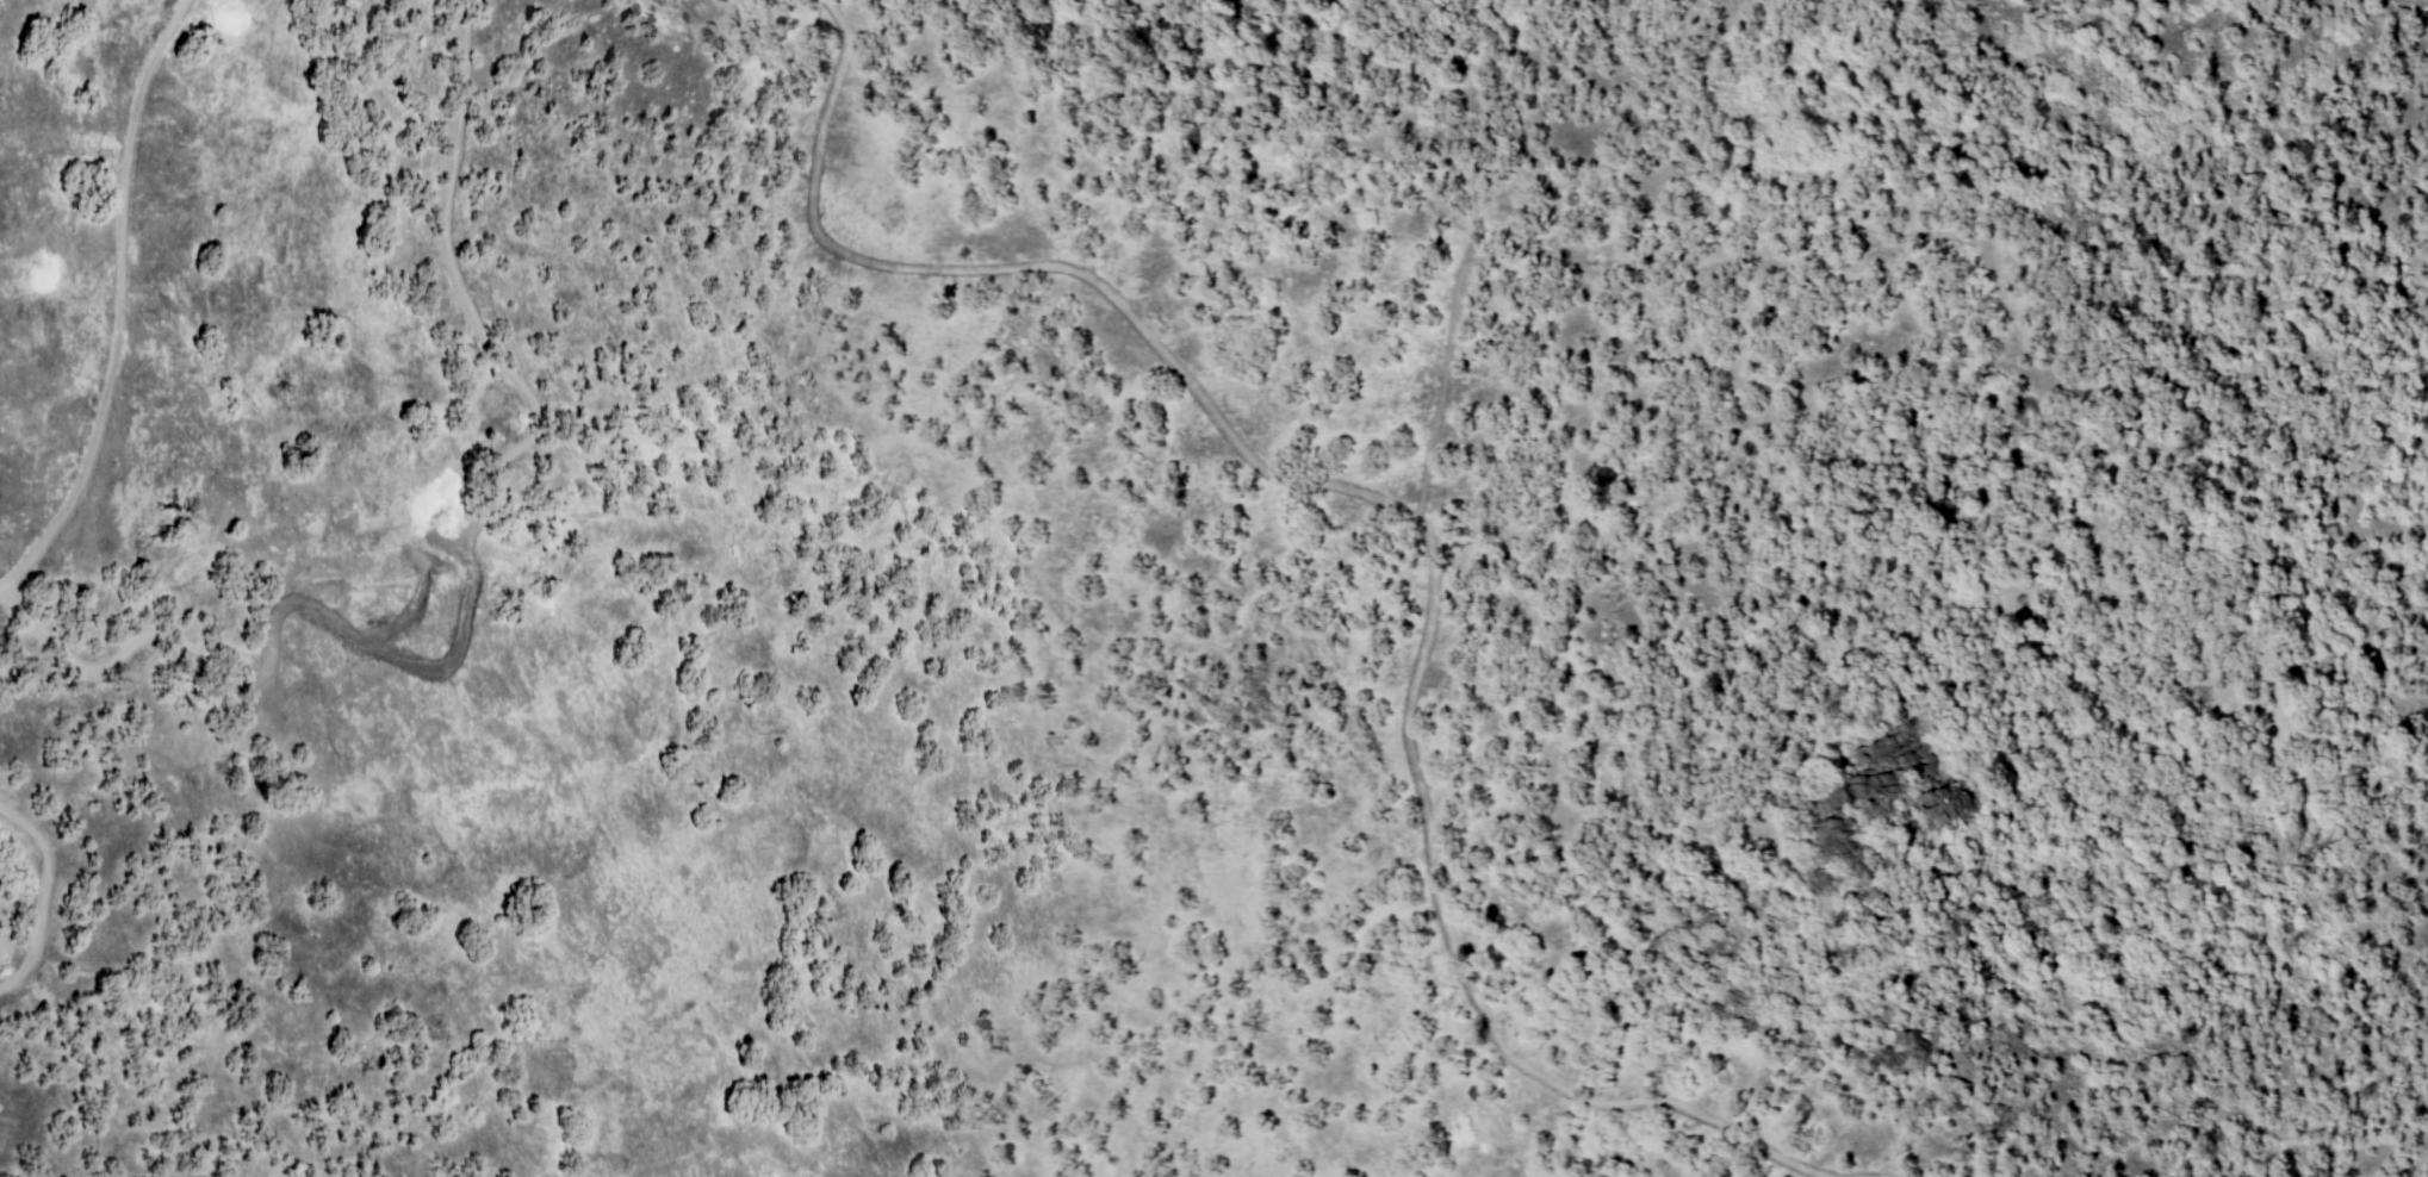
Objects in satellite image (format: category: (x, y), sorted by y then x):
building: (1913, 1036)

